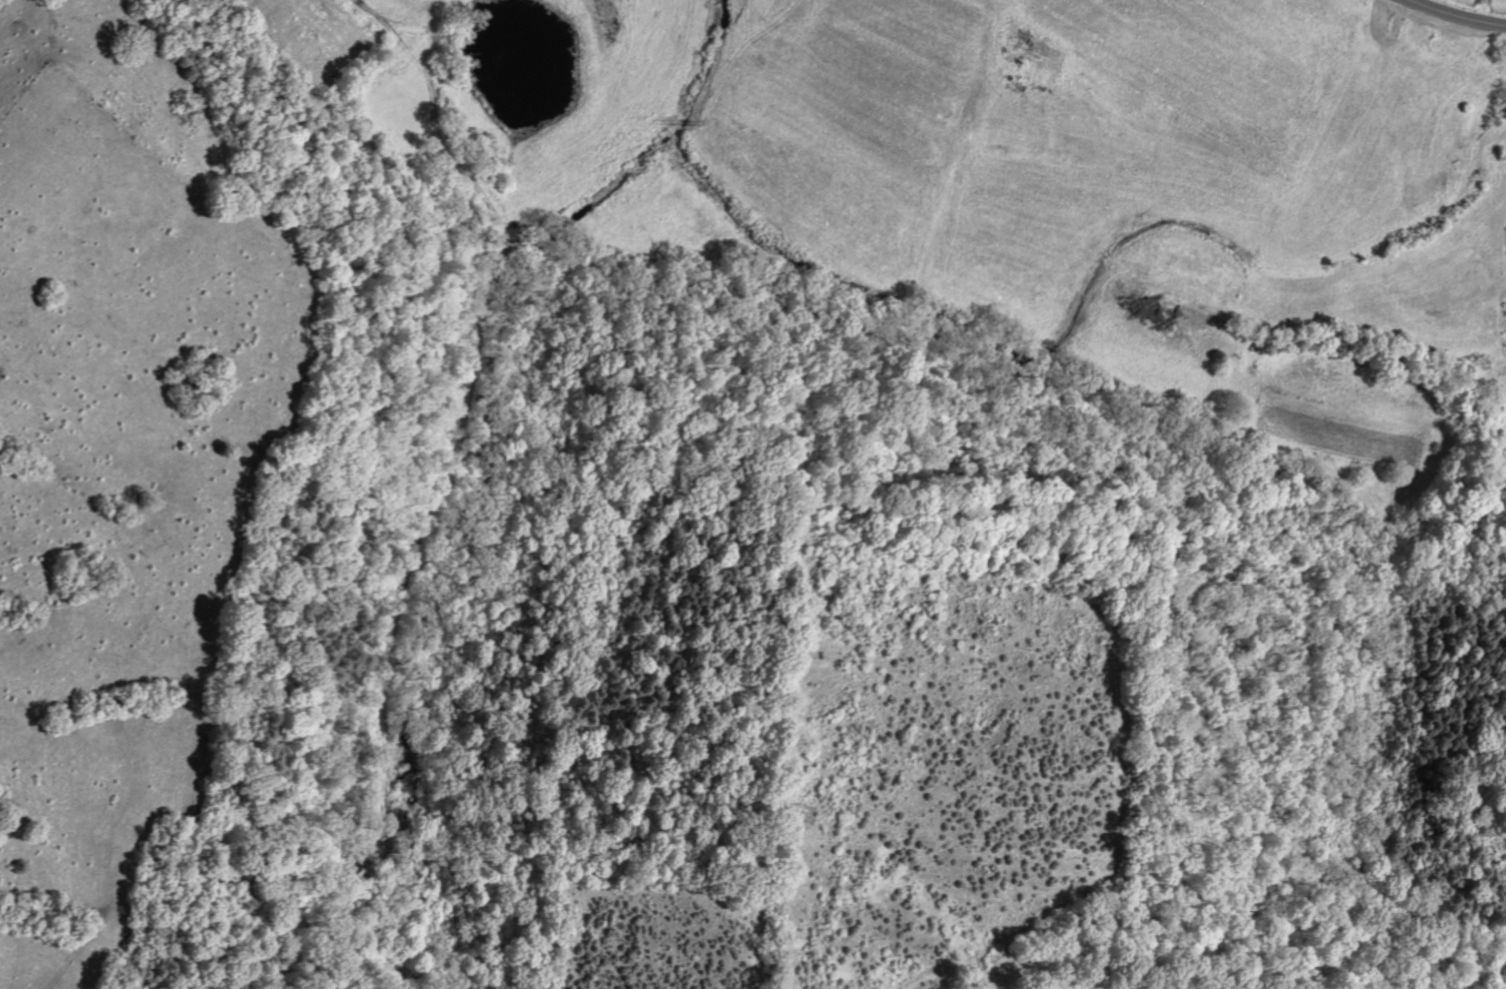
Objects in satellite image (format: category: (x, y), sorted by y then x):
road: (1457, 15)

